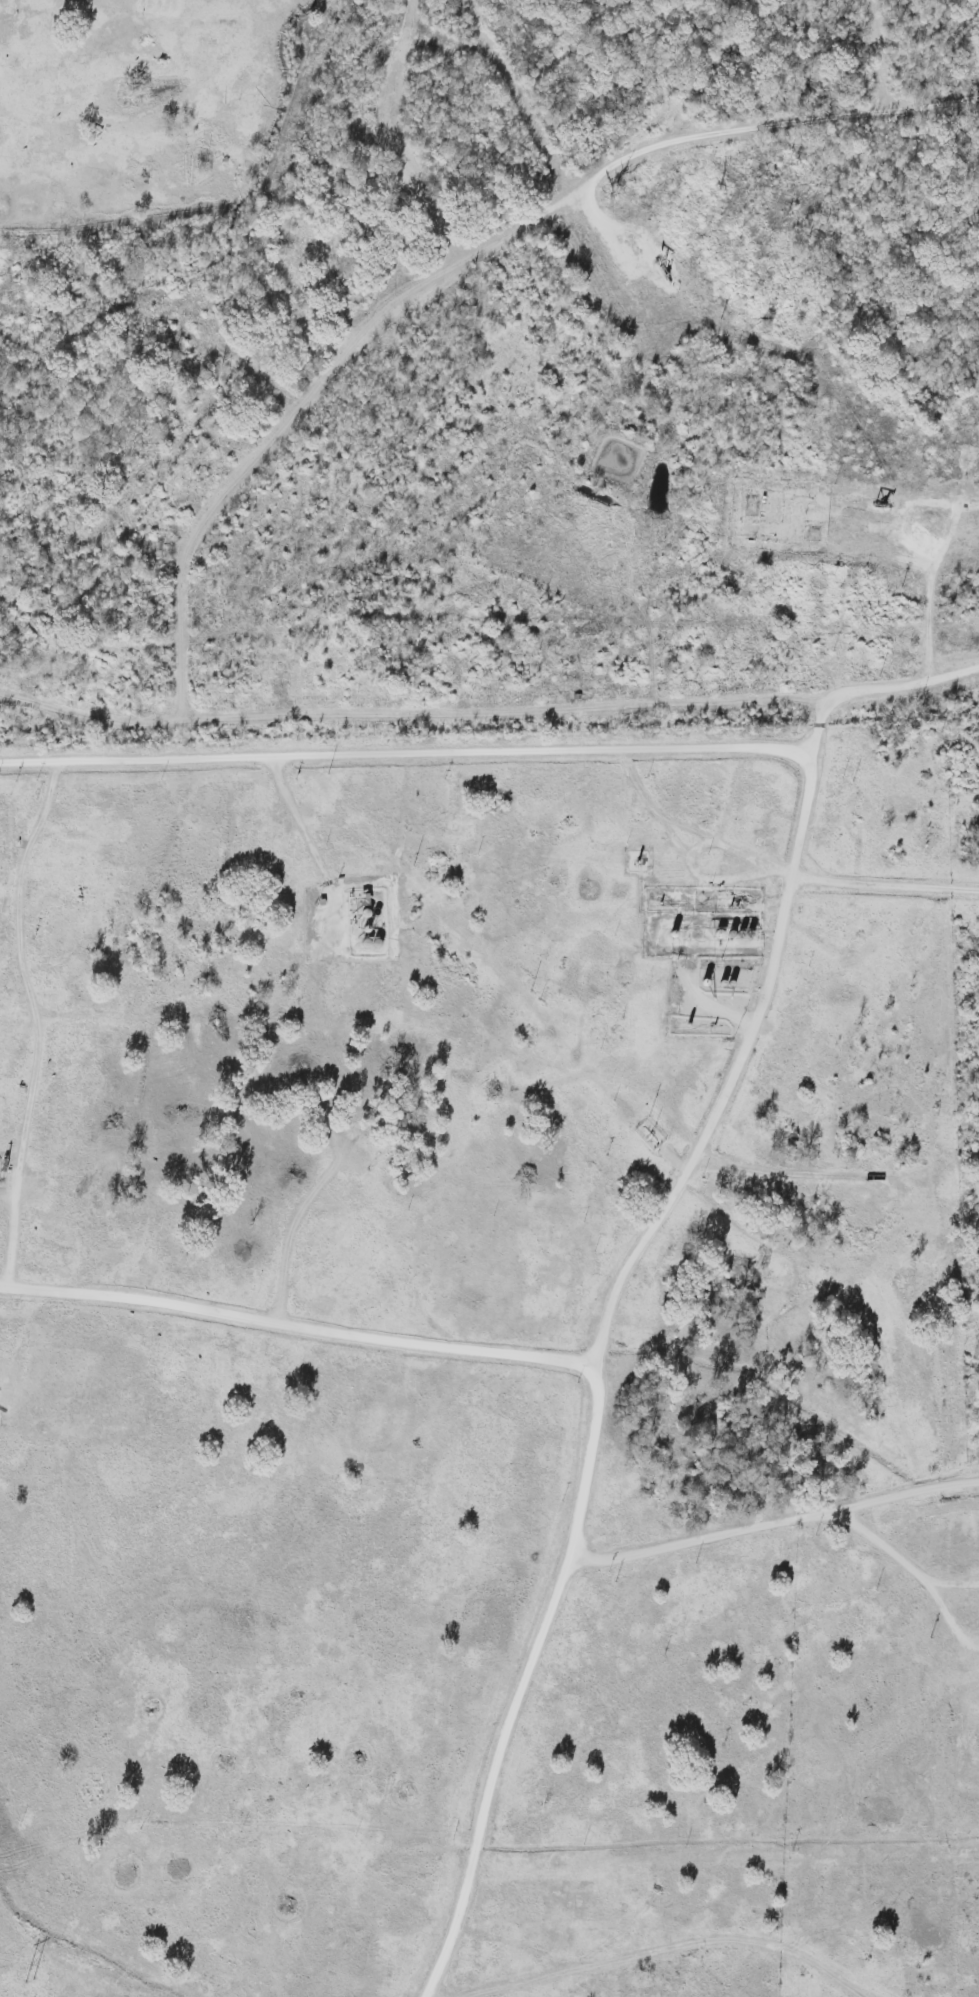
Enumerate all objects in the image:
road: (182, 562)
road: (89, 721)
road: (407, 756)
road: (304, 827)
road: (887, 887)
road: (40, 1023)
road: (297, 1327)
road: (598, 1342)
road: (775, 1524)
road: (674, 1950)
power tower: (26, 1981)

